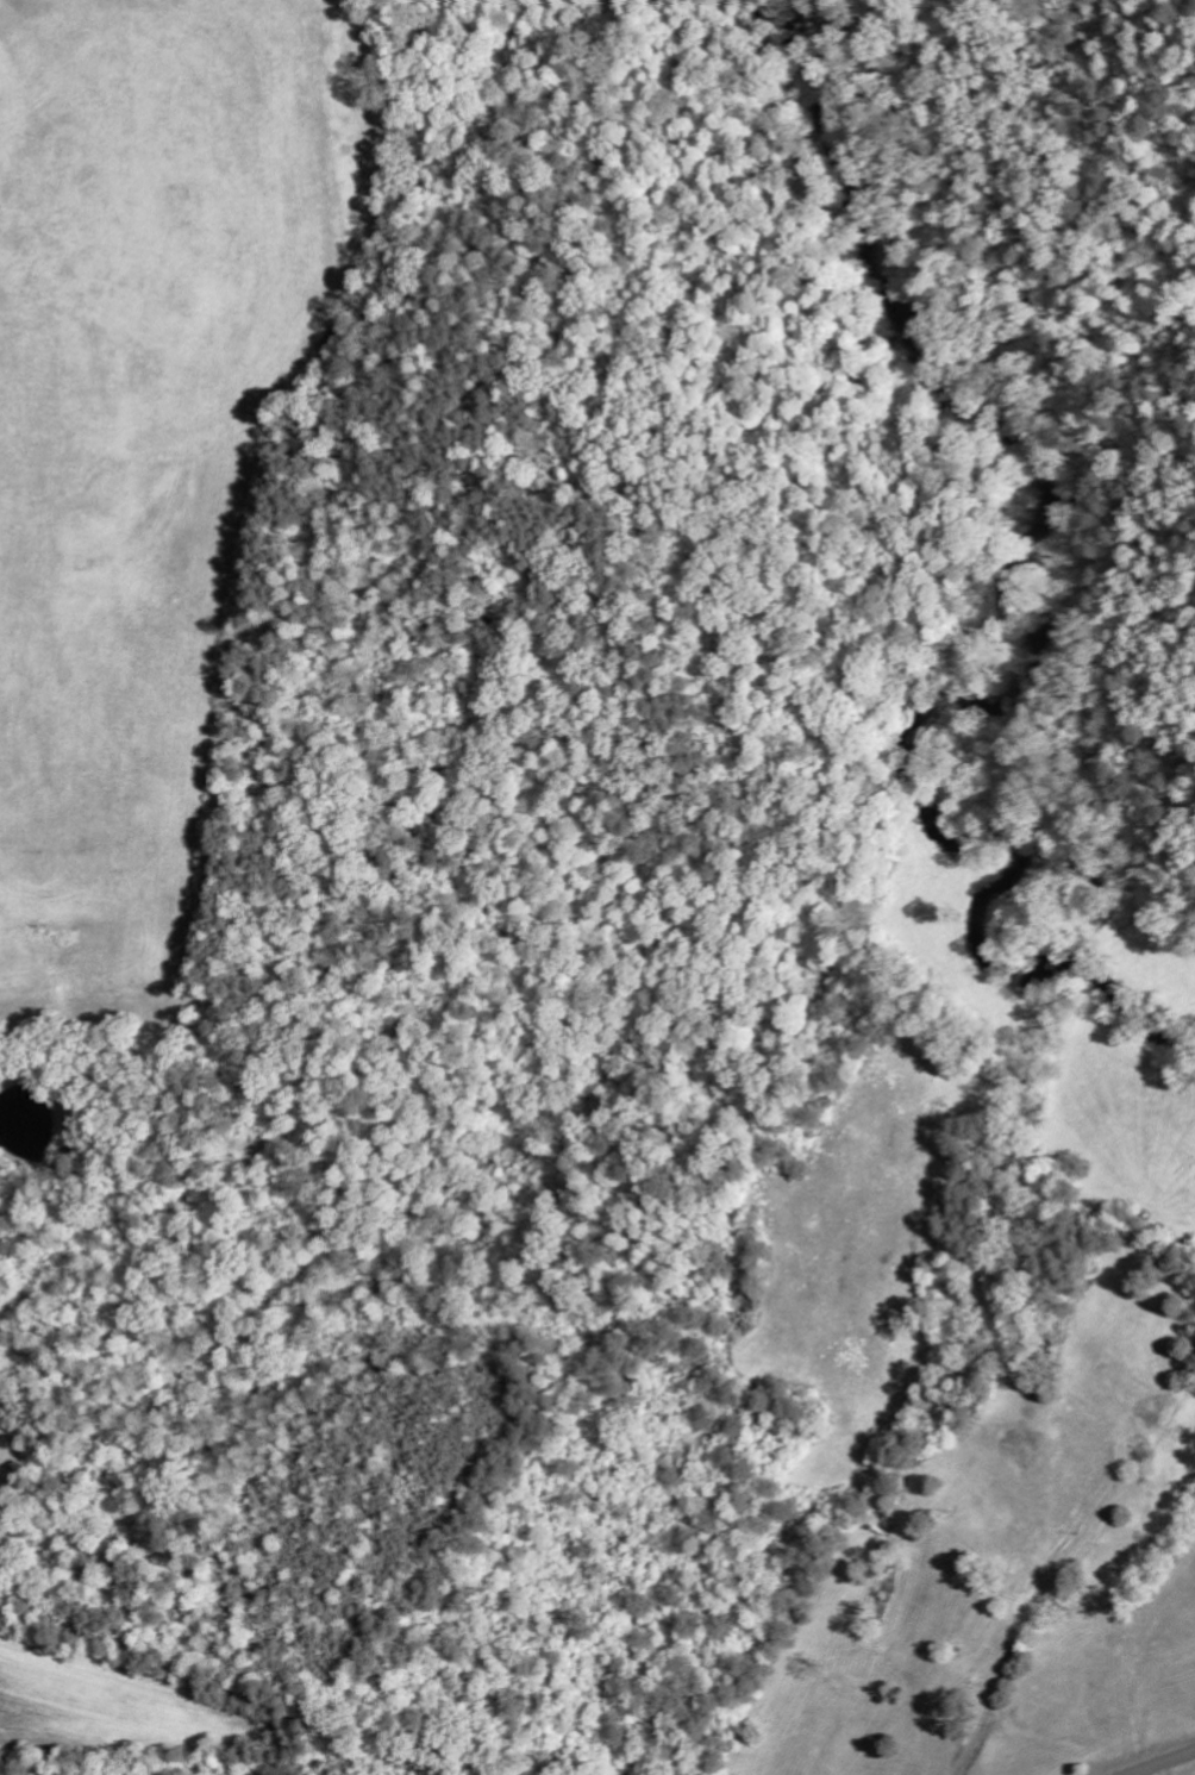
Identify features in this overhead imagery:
road: (1031, 1652)
road: (1166, 1764)
park: (1187, 1771)

